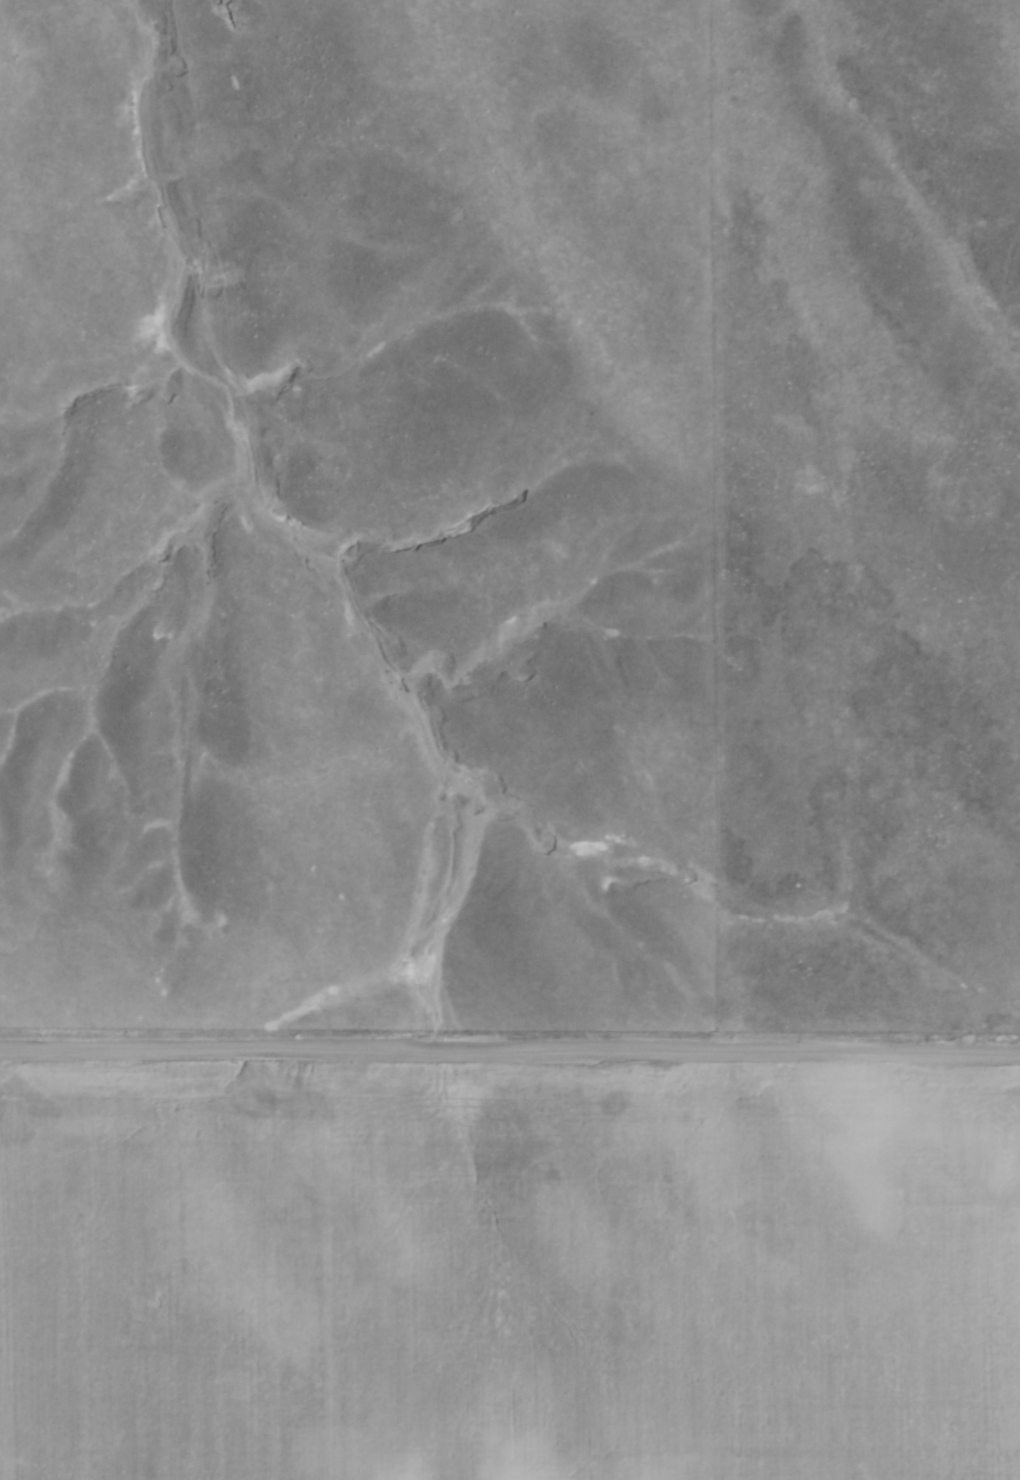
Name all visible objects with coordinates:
road: (509, 1047)
crop: (509, 1270)

